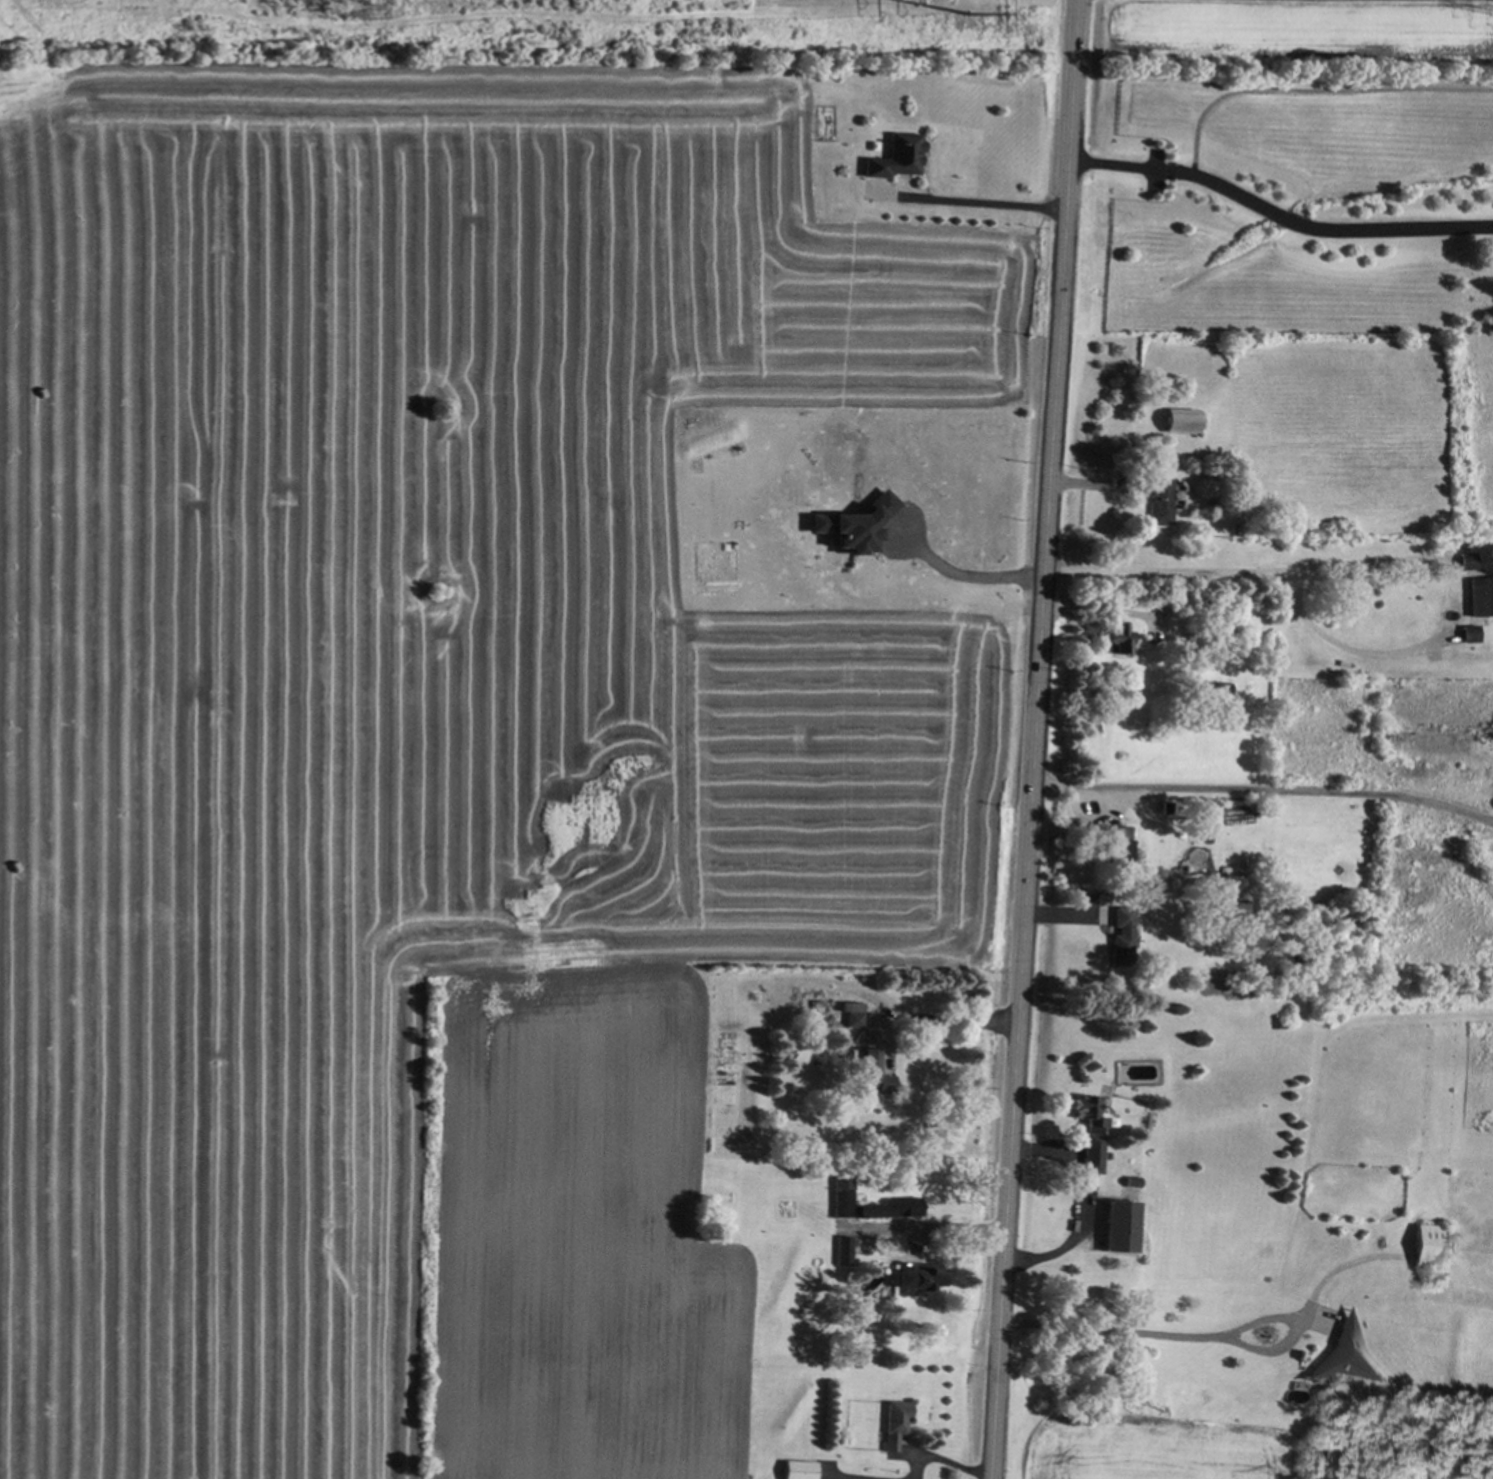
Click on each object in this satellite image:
power tower: (333, 18)
power tower: (969, 27)
building: (893, 157)
road: (970, 192)
road: (1276, 217)
building: (1179, 420)
building: (1158, 501)
building: (855, 524)
building: (1465, 560)
road: (964, 565)
road: (1245, 574)
building: (1479, 596)
road: (1095, 607)
building: (1467, 633)
building: (1118, 637)
road: (1330, 642)
road: (1037, 739)
crop: (428, 746)
road: (1266, 790)
building: (1116, 843)
building: (1119, 936)
building: (849, 1013)
road: (955, 1025)
building: (872, 1070)
building: (1089, 1132)
building: (839, 1187)
road: (1079, 1206)
building: (1118, 1226)
road: (932, 1230)
building: (1426, 1245)
building: (844, 1250)
building: (912, 1278)
road: (1136, 1331)
building: (894, 1424)
road: (944, 1462)
building: (796, 1469)
road: (835, 1478)

